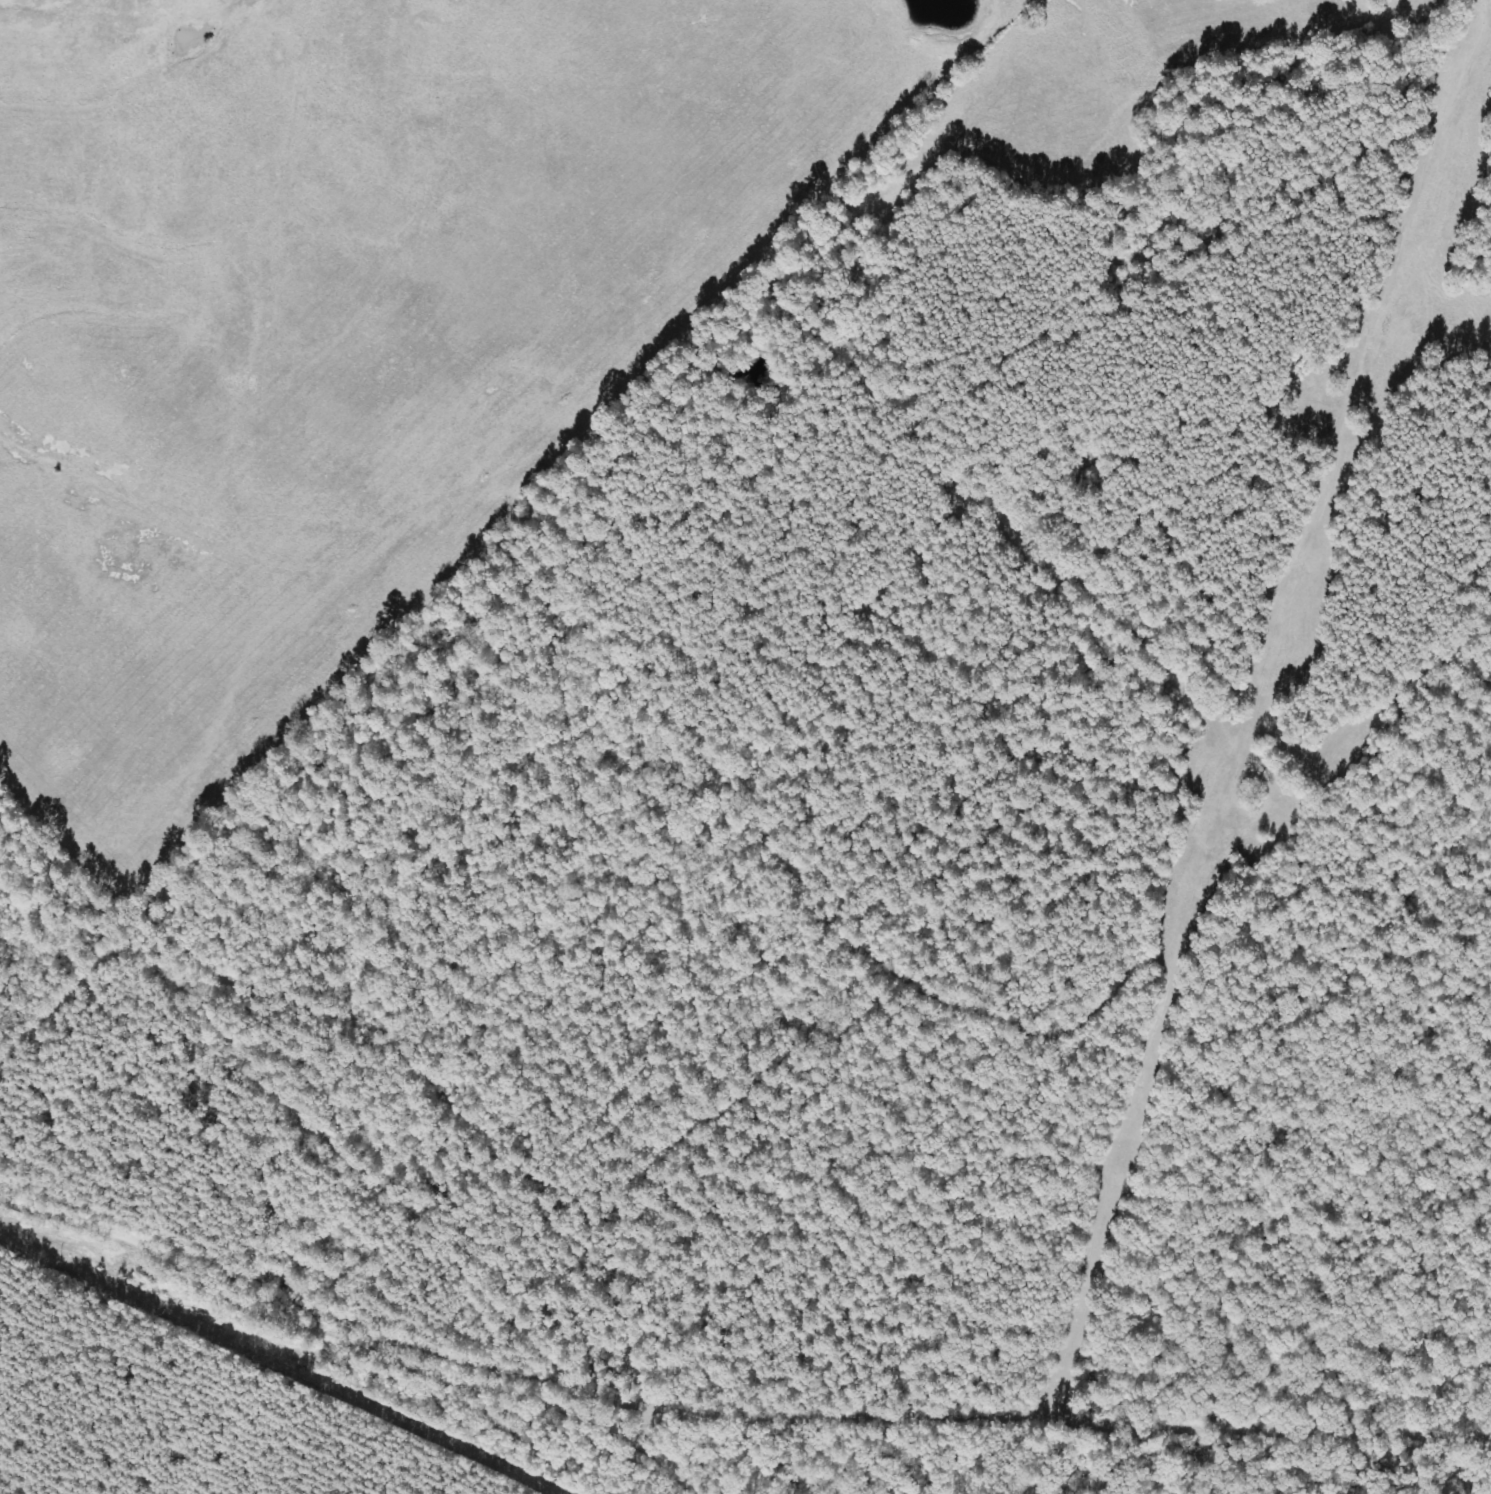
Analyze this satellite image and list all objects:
road: (350, 1323)

